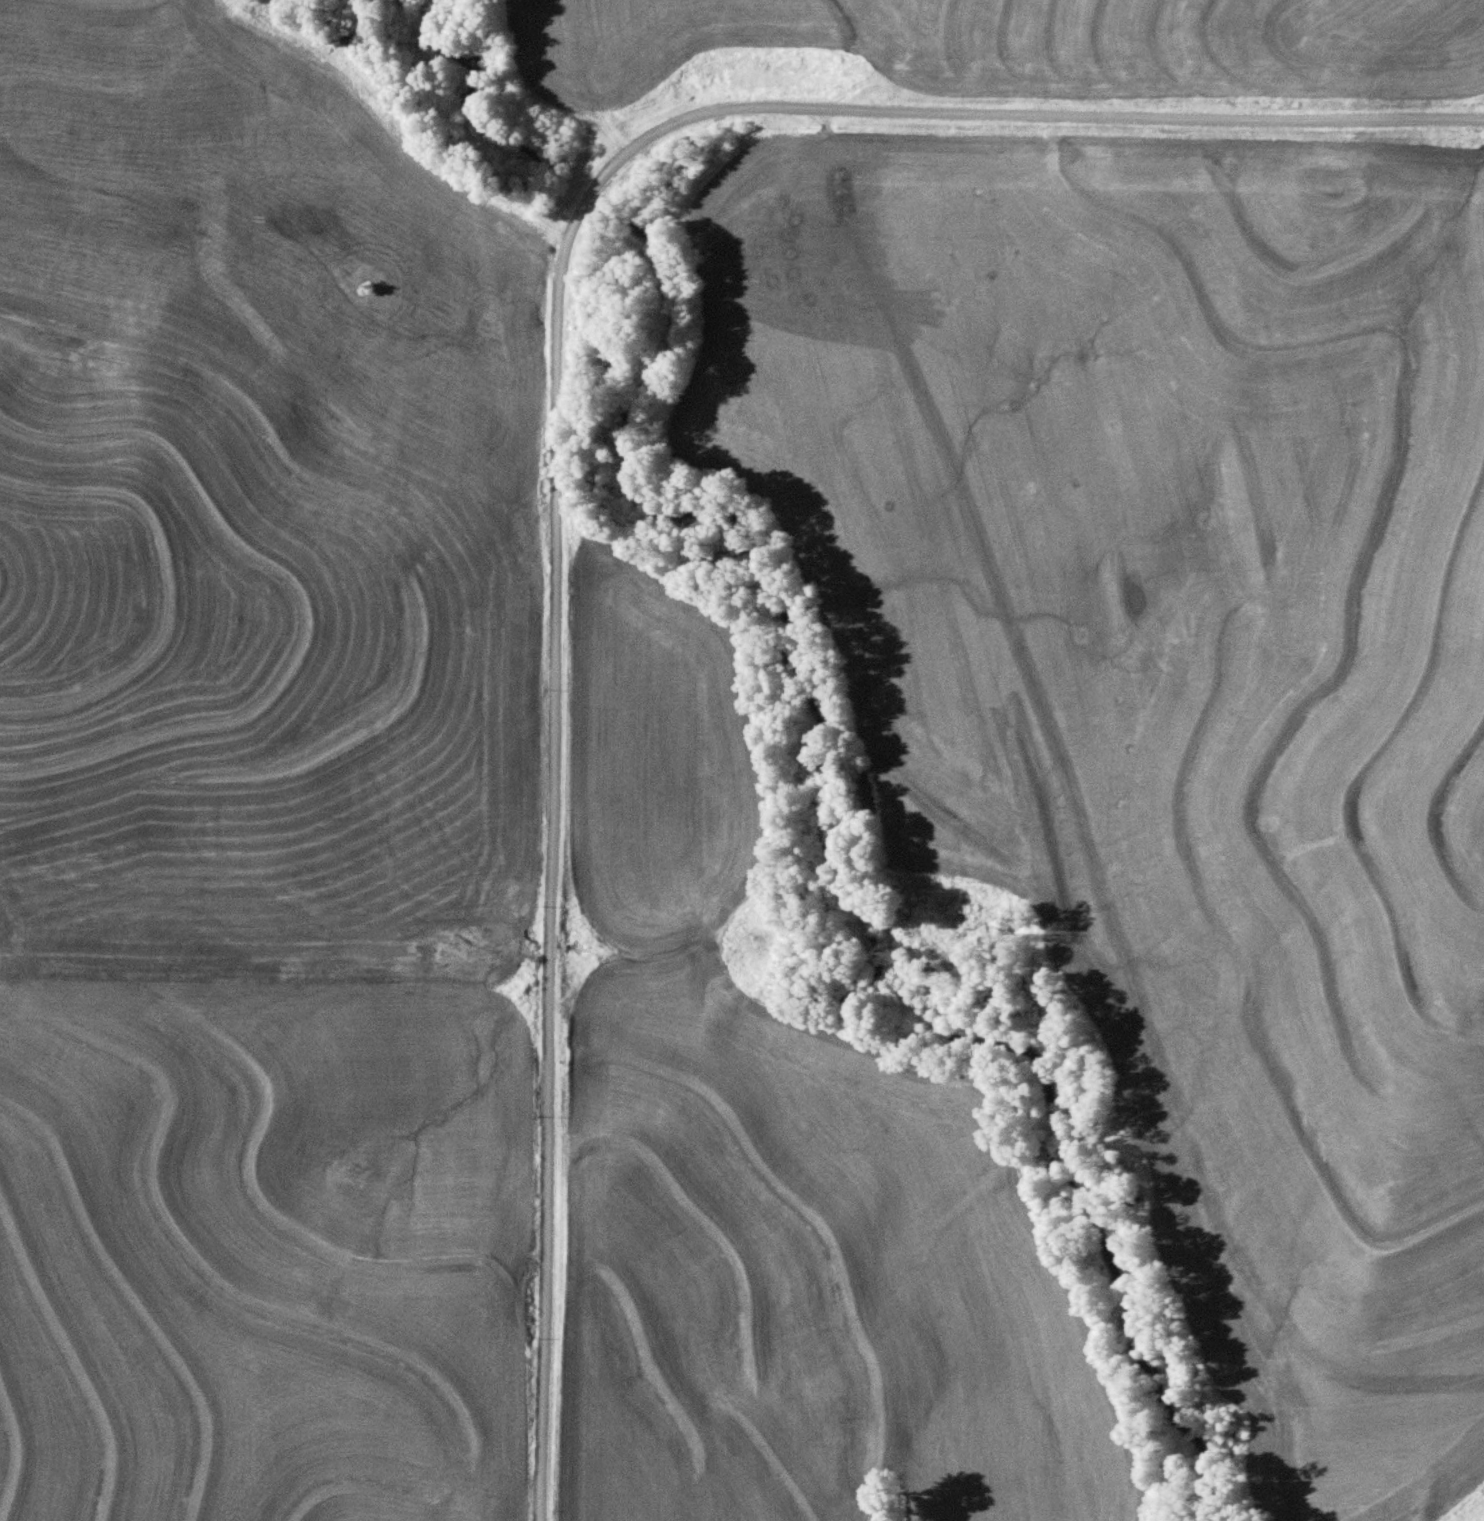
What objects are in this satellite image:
road: (558, 391)

